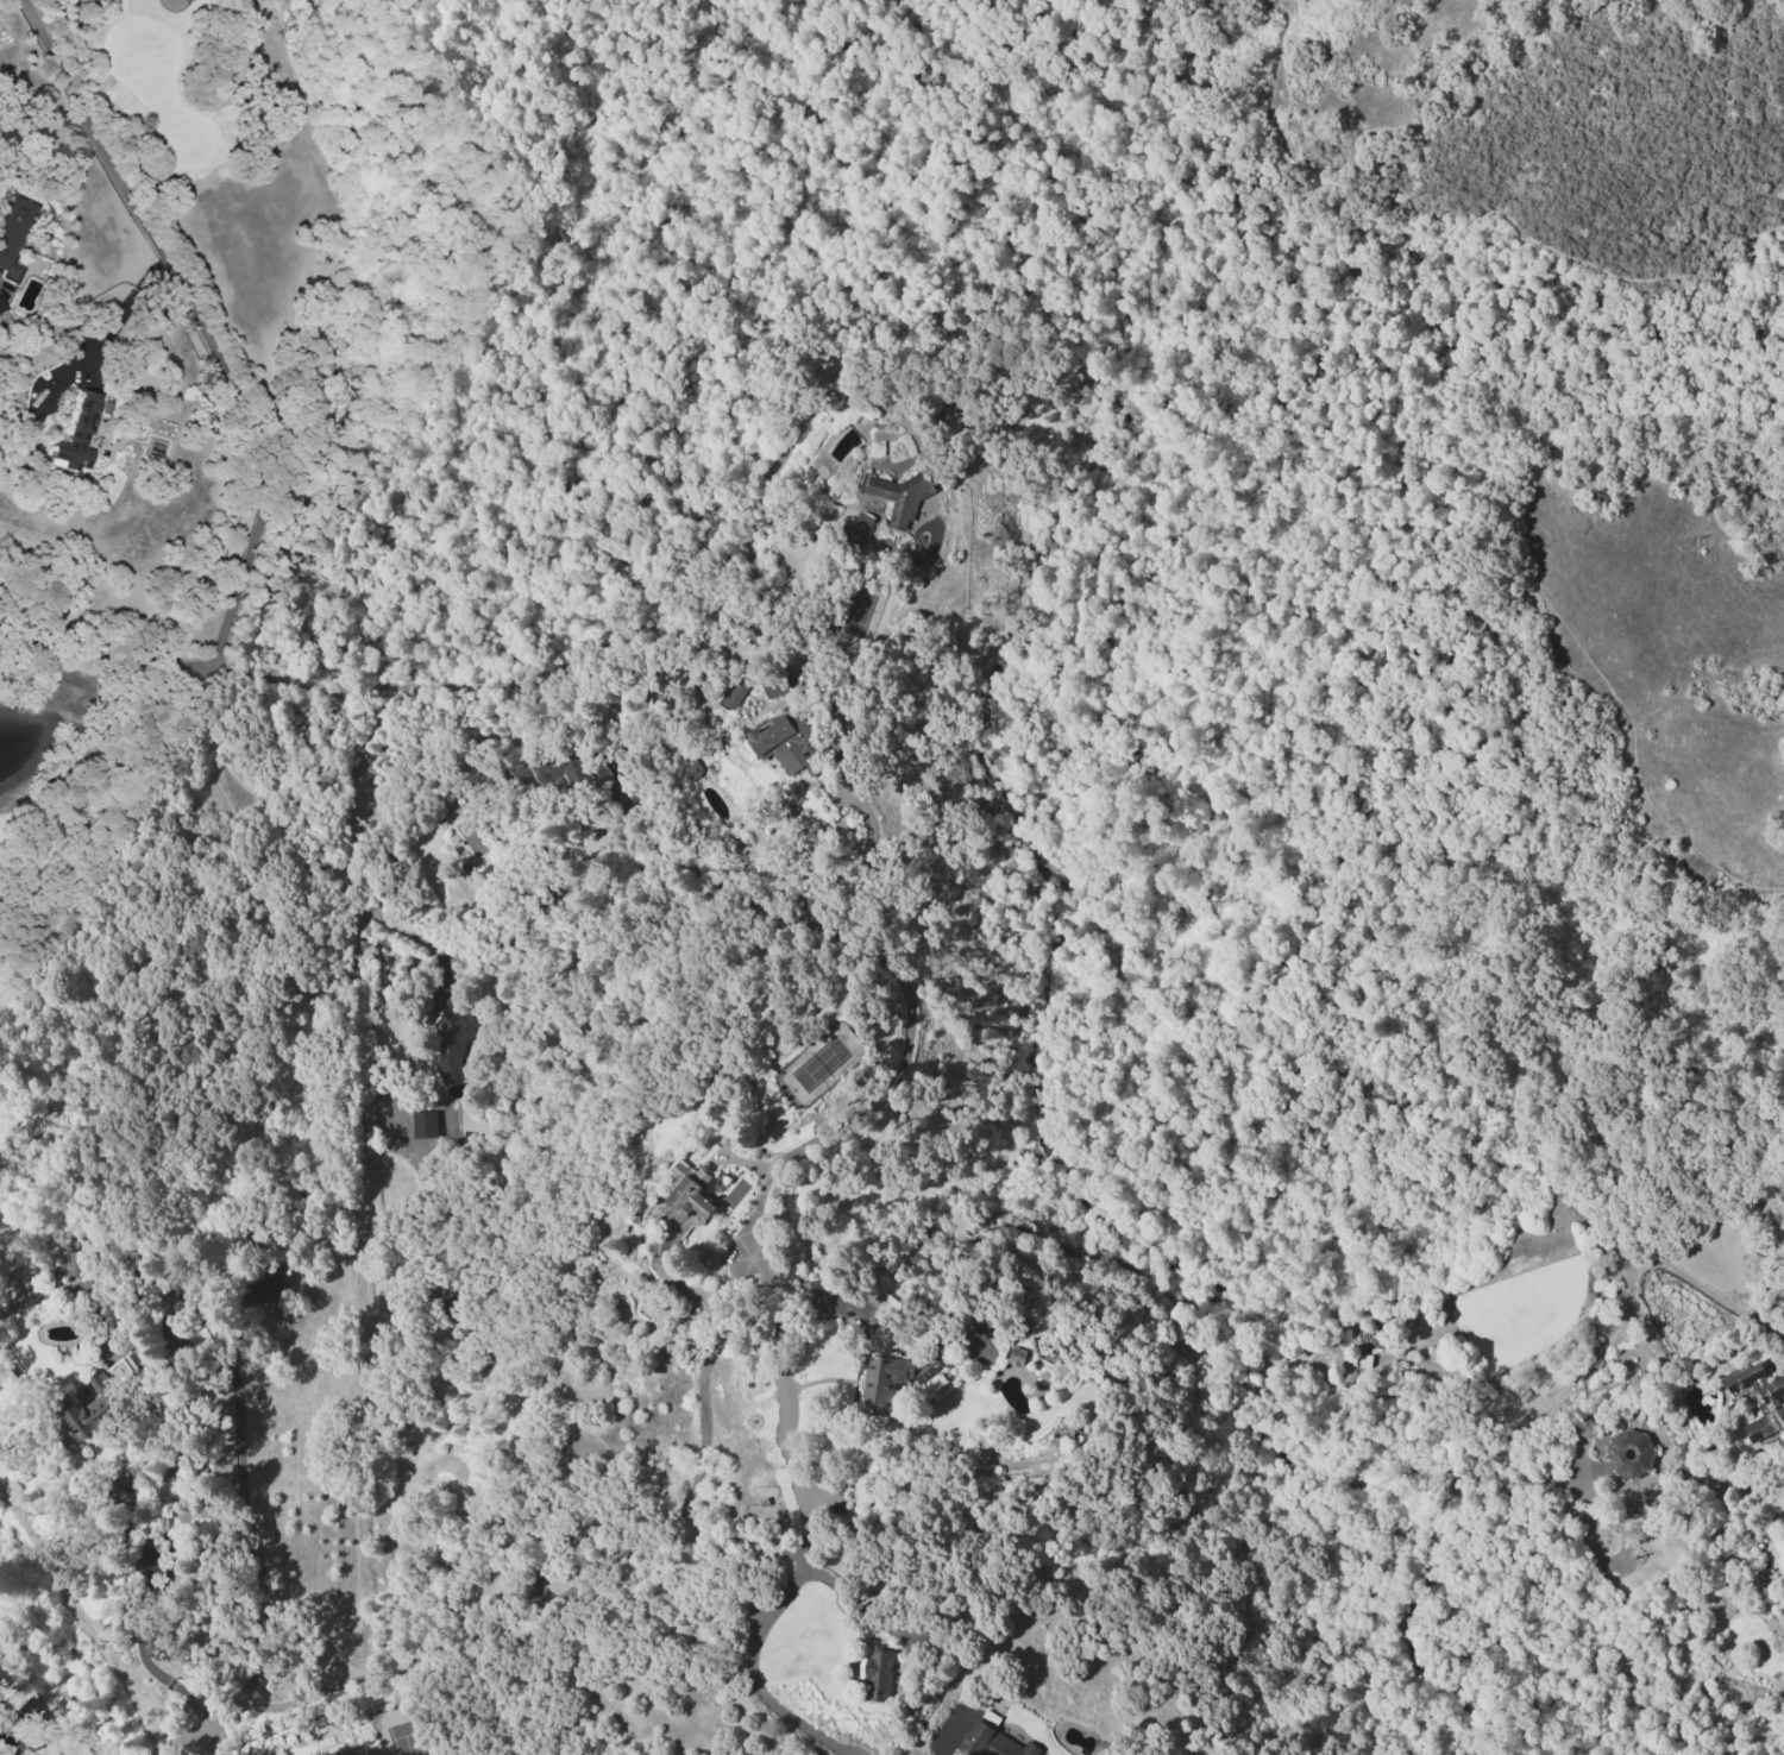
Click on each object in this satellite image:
road: (40, 118)
road: (1437, 214)
building: (14, 237)
building: (2, 306)
road: (105, 323)
building: (4, 329)
road: (245, 416)
building: (82, 436)
building: (896, 497)
building: (855, 528)
road: (639, 587)
road: (1541, 596)
road: (275, 678)
building: (735, 694)
building: (789, 744)
building: (564, 769)
building: (691, 769)
road: (850, 863)
road: (815, 925)
building: (452, 1042)
building: (423, 1124)
building: (266, 1287)
road: (366, 1294)
building: (819, 1301)
building: (450, 1307)
building: (1016, 1355)
building: (894, 1380)
building: (1759, 1399)
building: (88, 1410)
building: (1631, 1454)
road: (1461, 1457)
road: (767, 1621)
road: (138, 1650)
building: (878, 1673)
road: (303, 1698)
road: (445, 1699)
road: (948, 1735)
road: (187, 1738)
building: (993, 1742)

